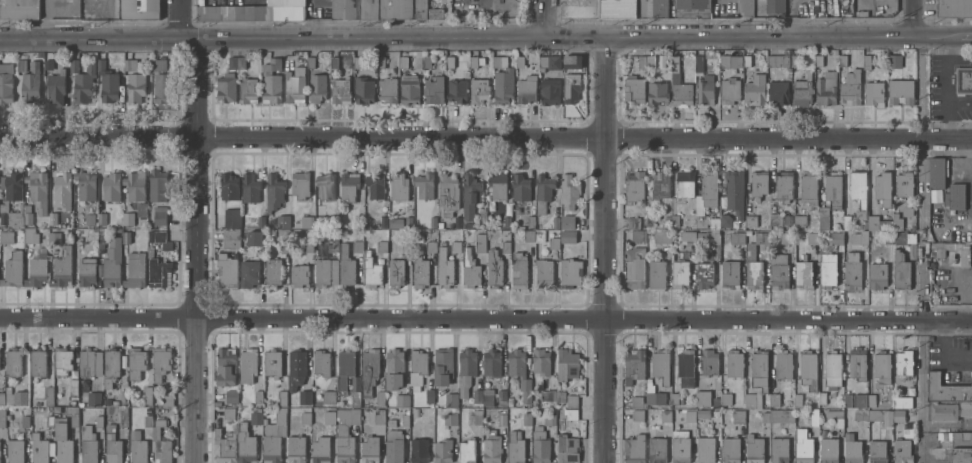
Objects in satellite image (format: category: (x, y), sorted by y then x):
building: (775, 6)
building: (954, 7)
building: (370, 8)
building: (599, 8)
building: (653, 8)
building: (692, 8)
building: (20, 9)
building: (139, 9)
building: (346, 9)
building: (395, 9)
building: (429, 9)
building: (251, 11)
road: (502, 18)
road: (910, 18)
road: (540, 19)
road: (178, 20)
road: (965, 37)
road: (478, 39)
building: (301, 58)
building: (844, 59)
building: (450, 60)
building: (651, 60)
building: (778, 60)
building: (795, 60)
building: (819, 60)
building: (894, 60)
building: (360, 61)
building: (381, 61)
building: (403, 61)
building: (427, 61)
building: (473, 61)
building: (497, 61)
building: (520, 61)
building: (725, 61)
building: (867, 61)
building: (232, 62)
building: (241, 62)
building: (311, 62)
building: (334, 62)
building: (549, 62)
building: (573, 62)
building: (642, 62)
building: (747, 62)
building: (675, 63)
building: (699, 63)
building: (22, 64)
building: (48, 64)
building: (131, 64)
building: (74, 65)
building: (158, 65)
building: (963, 80)
building: (272, 81)
building: (6, 82)
building: (107, 82)
building: (31, 83)
building: (84, 83)
building: (503, 85)
building: (56, 86)
building: (135, 87)
building: (294, 87)
building: (317, 87)
building: (571, 87)
building: (851, 87)
building: (163, 88)
building: (226, 88)
building: (410, 88)
building: (755, 88)
building: (826, 88)
road: (946, 88)
building: (340, 89)
building: (527, 89)
building: (634, 89)
building: (705, 89)
building: (248, 90)
building: (364, 90)
building: (388, 90)
building: (434, 90)
building: (457, 90)
building: (479, 90)
building: (730, 90)
building: (550, 91)
building: (901, 91)
building: (657, 92)
building: (778, 92)
building: (802, 92)
building: (874, 93)
building: (682, 94)
road: (959, 104)
road: (486, 134)
building: (936, 172)
building: (685, 183)
building: (158, 184)
building: (300, 184)
building: (660, 184)
building: (759, 184)
building: (784, 184)
building: (905, 184)
building: (12, 185)
building: (85, 185)
building: (135, 185)
building: (326, 185)
building: (349, 185)
building: (375, 185)
building: (424, 185)
building: (498, 185)
building: (62, 186)
building: (111, 186)
building: (228, 186)
building: (398, 186)
building: (634, 186)
building: (807, 186)
building: (249, 187)
building: (521, 187)
building: (709, 187)
building: (883, 188)
building: (833, 189)
building: (38, 190)
building: (569, 190)
building: (858, 190)
building: (274, 191)
building: (543, 191)
building: (735, 191)
building: (447, 194)
building: (470, 195)
building: (956, 196)
building: (141, 209)
building: (28, 214)
building: (10, 215)
building: (160, 215)
building: (801, 216)
building: (53, 218)
building: (88, 218)
building: (102, 218)
building: (128, 218)
building: (232, 218)
building: (824, 218)
building: (775, 219)
building: (787, 219)
building: (77, 220)
building: (652, 220)
building: (675, 220)
building: (726, 220)
building: (751, 220)
building: (260, 221)
building: (307, 221)
building: (359, 221)
building: (384, 221)
building: (458, 221)
building: (506, 221)
building: (531, 221)
building: (567, 221)
building: (704, 221)
building: (282, 222)
building: (396, 222)
building: (408, 222)
building: (433, 222)
building: (556, 222)
building: (634, 222)
building: (847, 222)
building: (879, 223)
building: (898, 224)
building: (440, 225)
building: (68, 233)
building: (31, 235)
building: (103, 235)
building: (530, 235)
building: (639, 235)
building: (126, 236)
building: (540, 236)
building: (568, 236)
building: (662, 236)
building: (862, 236)
building: (6, 237)
building: (54, 237)
building: (254, 237)
building: (688, 237)
building: (714, 237)
building: (737, 237)
building: (762, 237)
building: (787, 237)
building: (813, 237)
building: (837, 237)
building: (888, 237)
building: (160, 238)
building: (231, 238)
building: (900, 238)
building: (283, 240)
building: (480, 242)
building: (554, 242)
building: (308, 245)
building: (381, 245)
building: (332, 246)
building: (356, 246)
building: (406, 246)
building: (431, 246)
building: (456, 246)
building: (506, 246)
road: (923, 250)
road: (196, 251)
road: (601, 251)
building: (940, 251)
building: (964, 257)
building: (112, 263)
building: (346, 266)
building: (62, 267)
building: (444, 267)
building: (494, 267)
building: (634, 267)
building: (753, 267)
building: (13, 269)
building: (135, 269)
building: (227, 269)
building: (470, 269)
building: (828, 269)
building: (371, 270)
building: (420, 270)
building: (519, 270)
building: (901, 270)
building: (36, 271)
building: (86, 271)
building: (322, 271)
building: (779, 271)
building: (159, 272)
building: (249, 272)
building: (273, 272)
building: (396, 272)
building: (544, 272)
building: (570, 272)
building: (680, 273)
building: (657, 274)
building: (705, 274)
building: (730, 274)
building: (804, 274)
building: (852, 274)
building: (298, 275)
building: (877, 275)
building: (936, 292)
road: (486, 318)
road: (944, 355)
building: (13, 361)
building: (62, 361)
building: (161, 361)
building: (541, 361)
building: (38, 362)
building: (90, 362)
building: (136, 362)
building: (322, 362)
building: (394, 362)
building: (492, 362)
building: (709, 362)
building: (904, 362)
building: (273, 363)
building: (734, 363)
building: (857, 363)
building: (247, 364)
building: (567, 364)
building: (634, 364)
building: (661, 364)
building: (784, 364)
building: (443, 365)
building: (111, 366)
building: (226, 366)
building: (882, 366)
building: (685, 367)
building: (296, 368)
building: (345, 368)
building: (417, 368)
building: (832, 368)
building: (808, 369)
building: (370, 370)
building: (466, 370)
building: (519, 372)
building: (758, 378)
building: (73, 387)
building: (946, 389)
building: (402, 392)
building: (548, 394)
building: (49, 395)
building: (147, 395)
building: (231, 396)
building: (258, 396)
building: (304, 396)
building: (329, 396)
building: (429, 396)
building: (477, 396)
building: (493, 396)
building: (561, 396)
building: (654, 396)
building: (21, 397)
building: (356, 397)
building: (379, 397)
building: (703, 397)
building: (822, 397)
building: (1, 398)
building: (93, 398)
building: (166, 398)
building: (282, 398)
building: (676, 398)
building: (726, 398)
building: (451, 399)
building: (775, 399)
building: (572, 400)
building: (797, 400)
building: (860, 400)
building: (872, 400)
building: (636, 401)
building: (901, 401)
building: (115, 402)
building: (511, 402)
building: (950, 410)
building: (715, 412)
building: (229, 413)
building: (570, 413)
building: (703, 413)
building: (638, 414)
building: (861, 414)
building: (73, 415)
building: (123, 415)
building: (666, 415)
building: (690, 415)
building: (782, 415)
building: (881, 415)
building: (899, 415)
building: (281, 416)
building: (379, 416)
building: (738, 416)
building: (766, 416)
building: (814, 416)
building: (256, 417)
building: (329, 417)
building: (474, 417)
building: (835, 417)
building: (2, 418)
building: (99, 418)
building: (305, 418)
building: (450, 418)
building: (527, 418)
building: (347, 419)
building: (502, 419)
building: (549, 419)
building: (50, 420)
building: (147, 420)
building: (404, 420)
building: (25, 421)
building: (391, 422)
building: (63, 441)
building: (958, 441)
building: (0, 443)
building: (161, 443)
building: (245, 443)
building: (271, 444)
building: (88, 445)
building: (540, 445)
building: (394, 446)
building: (681, 446)
building: (137, 447)
building: (224, 447)
building: (516, 447)
building: (803, 447)
building: (296, 448)
building: (567, 448)
building: (39, 449)
building: (113, 449)
building: (321, 449)
building: (345, 449)
building: (492, 449)
building: (635, 449)
building: (705, 449)
building: (731, 449)
building: (754, 449)
building: (828, 449)
building: (852, 449)
building: (370, 450)
building: (419, 450)
building: (657, 450)
building: (779, 450)
building: (15, 451)
building: (443, 451)
building: (467, 451)
building: (878, 451)
building: (902, 451)
building: (0, 453)
building: (962, 455)

